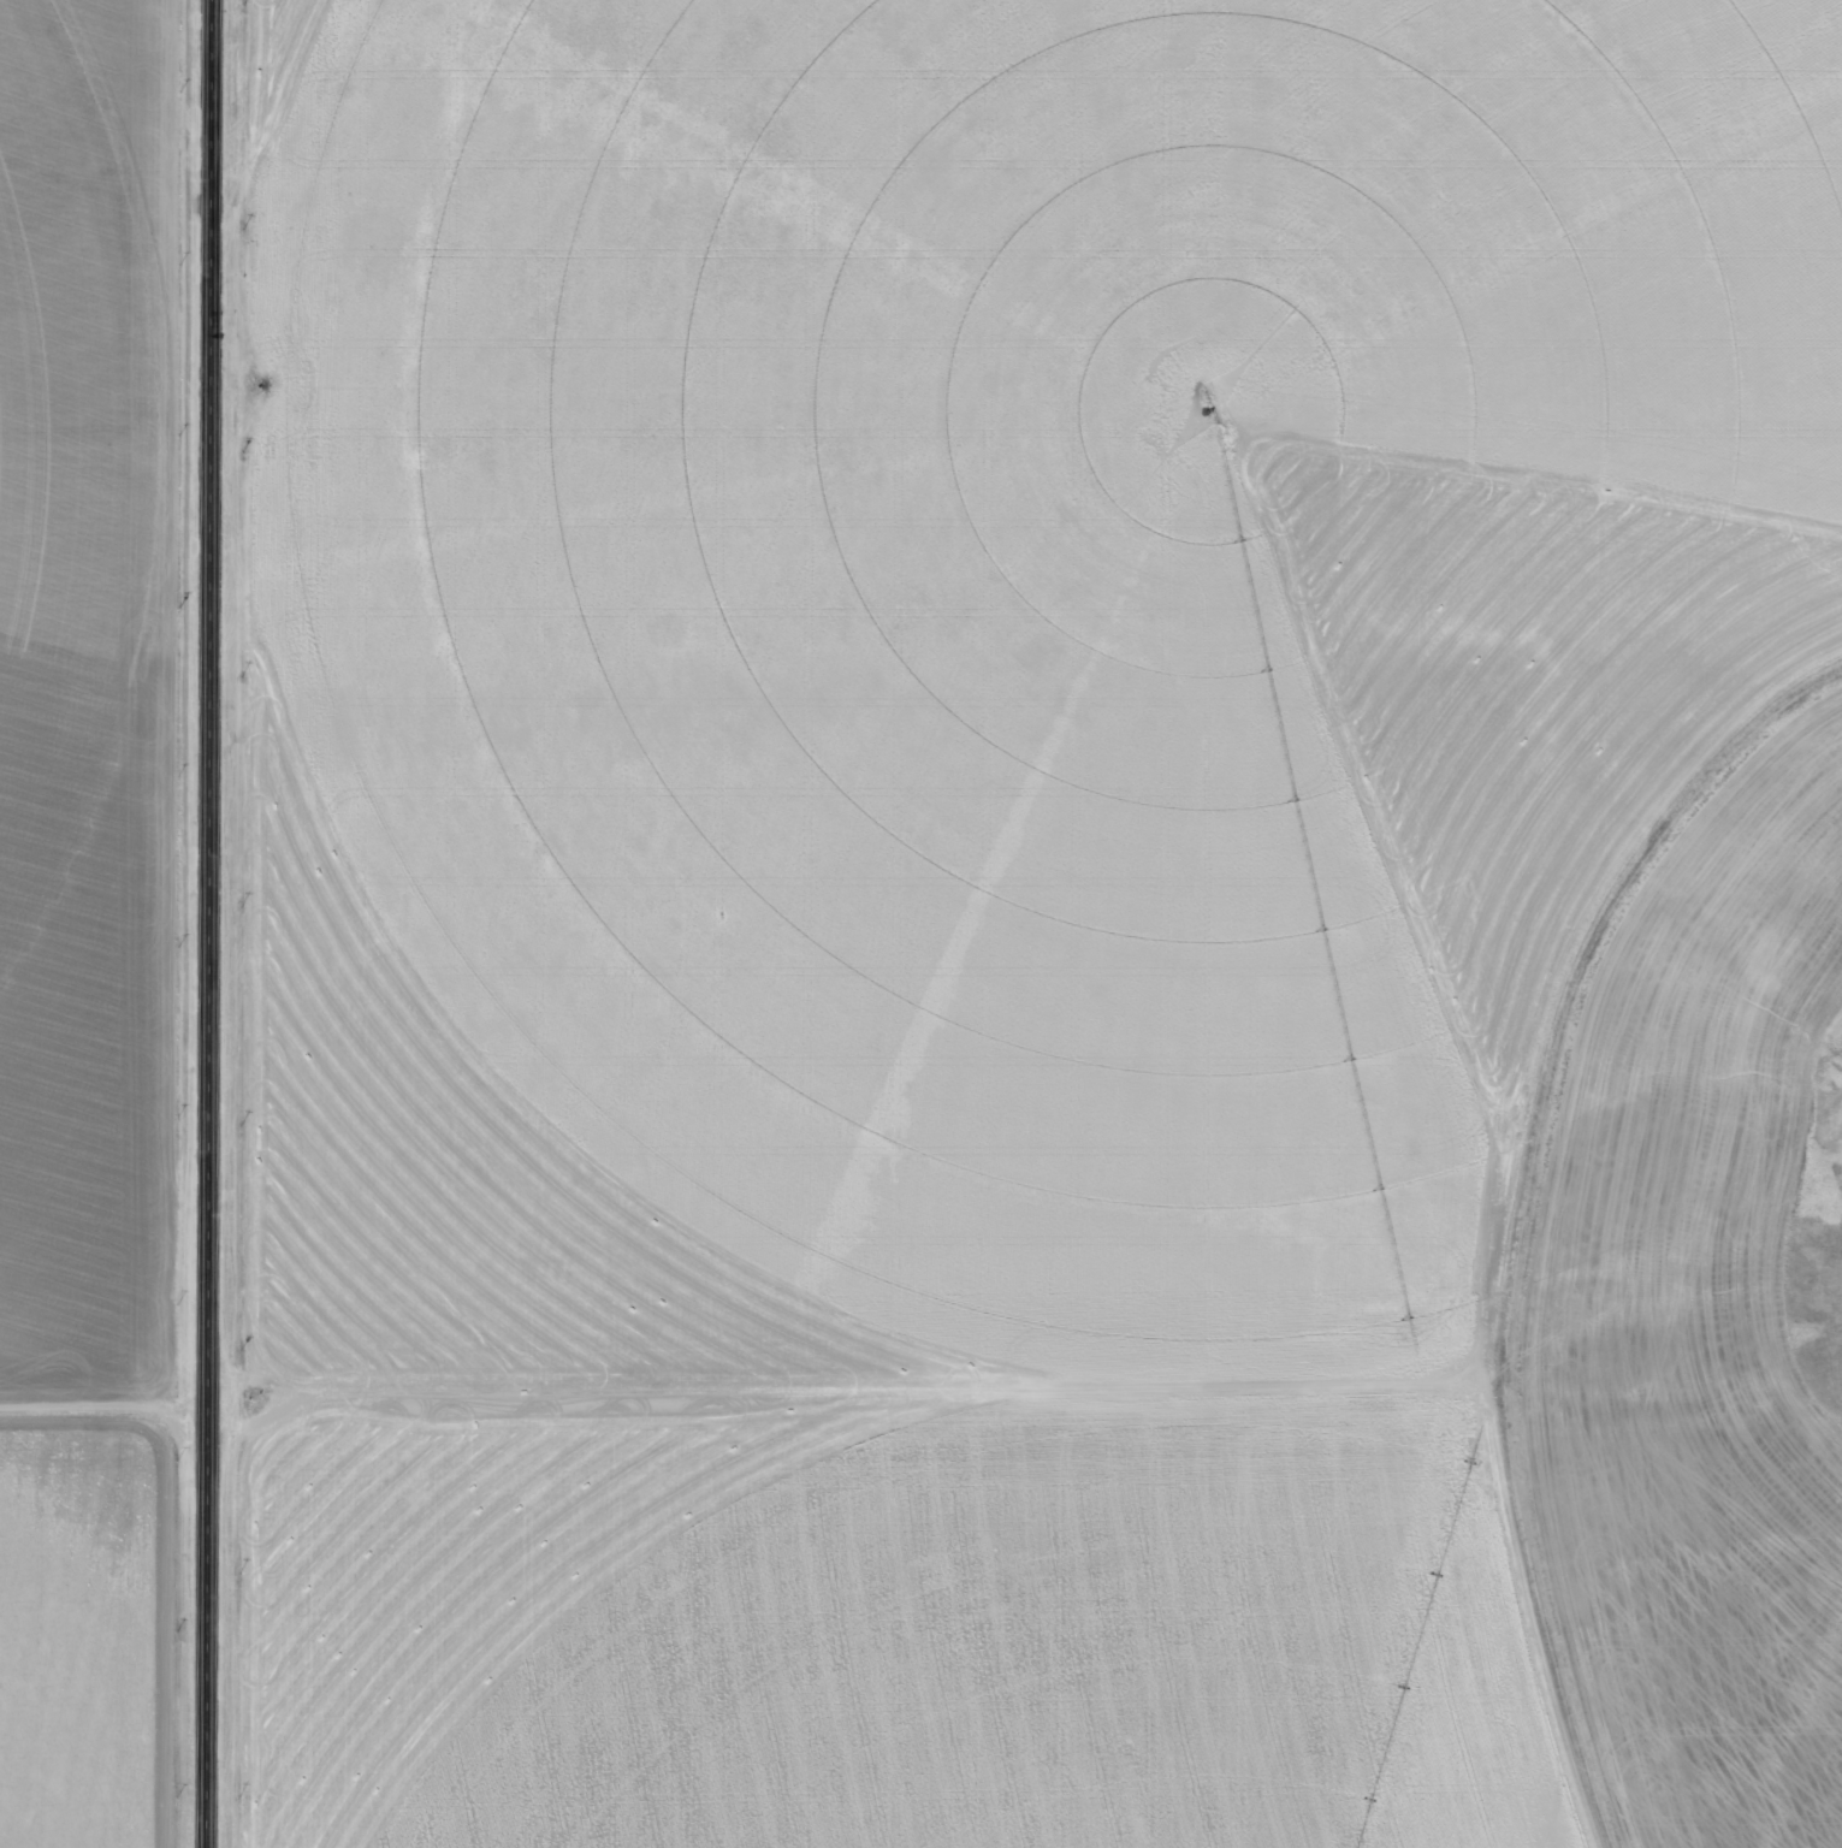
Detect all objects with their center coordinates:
road: (213, 923)
road: (1550, 1123)
road: (107, 1382)

